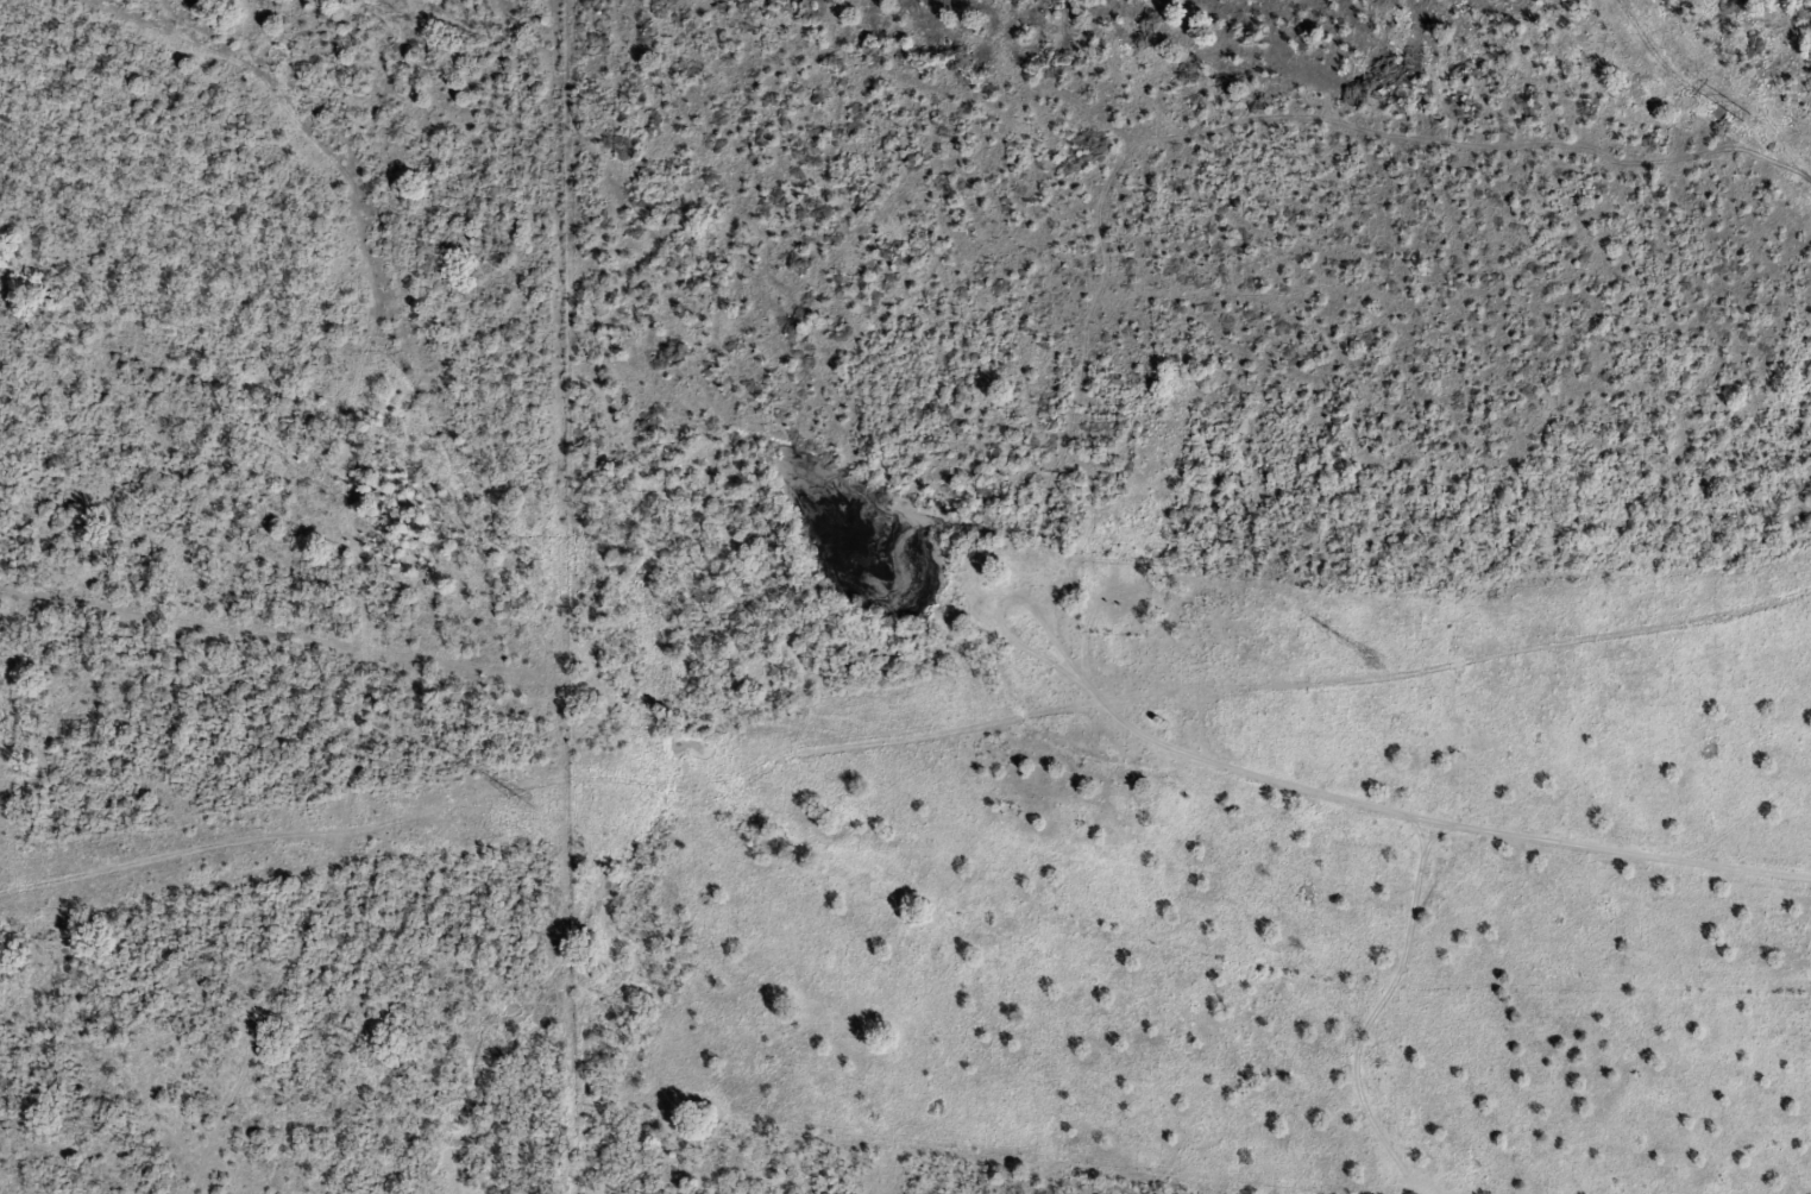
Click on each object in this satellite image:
power tower: (1744, 117)
power tower: (1373, 667)
road: (857, 740)
power tower: (552, 802)

